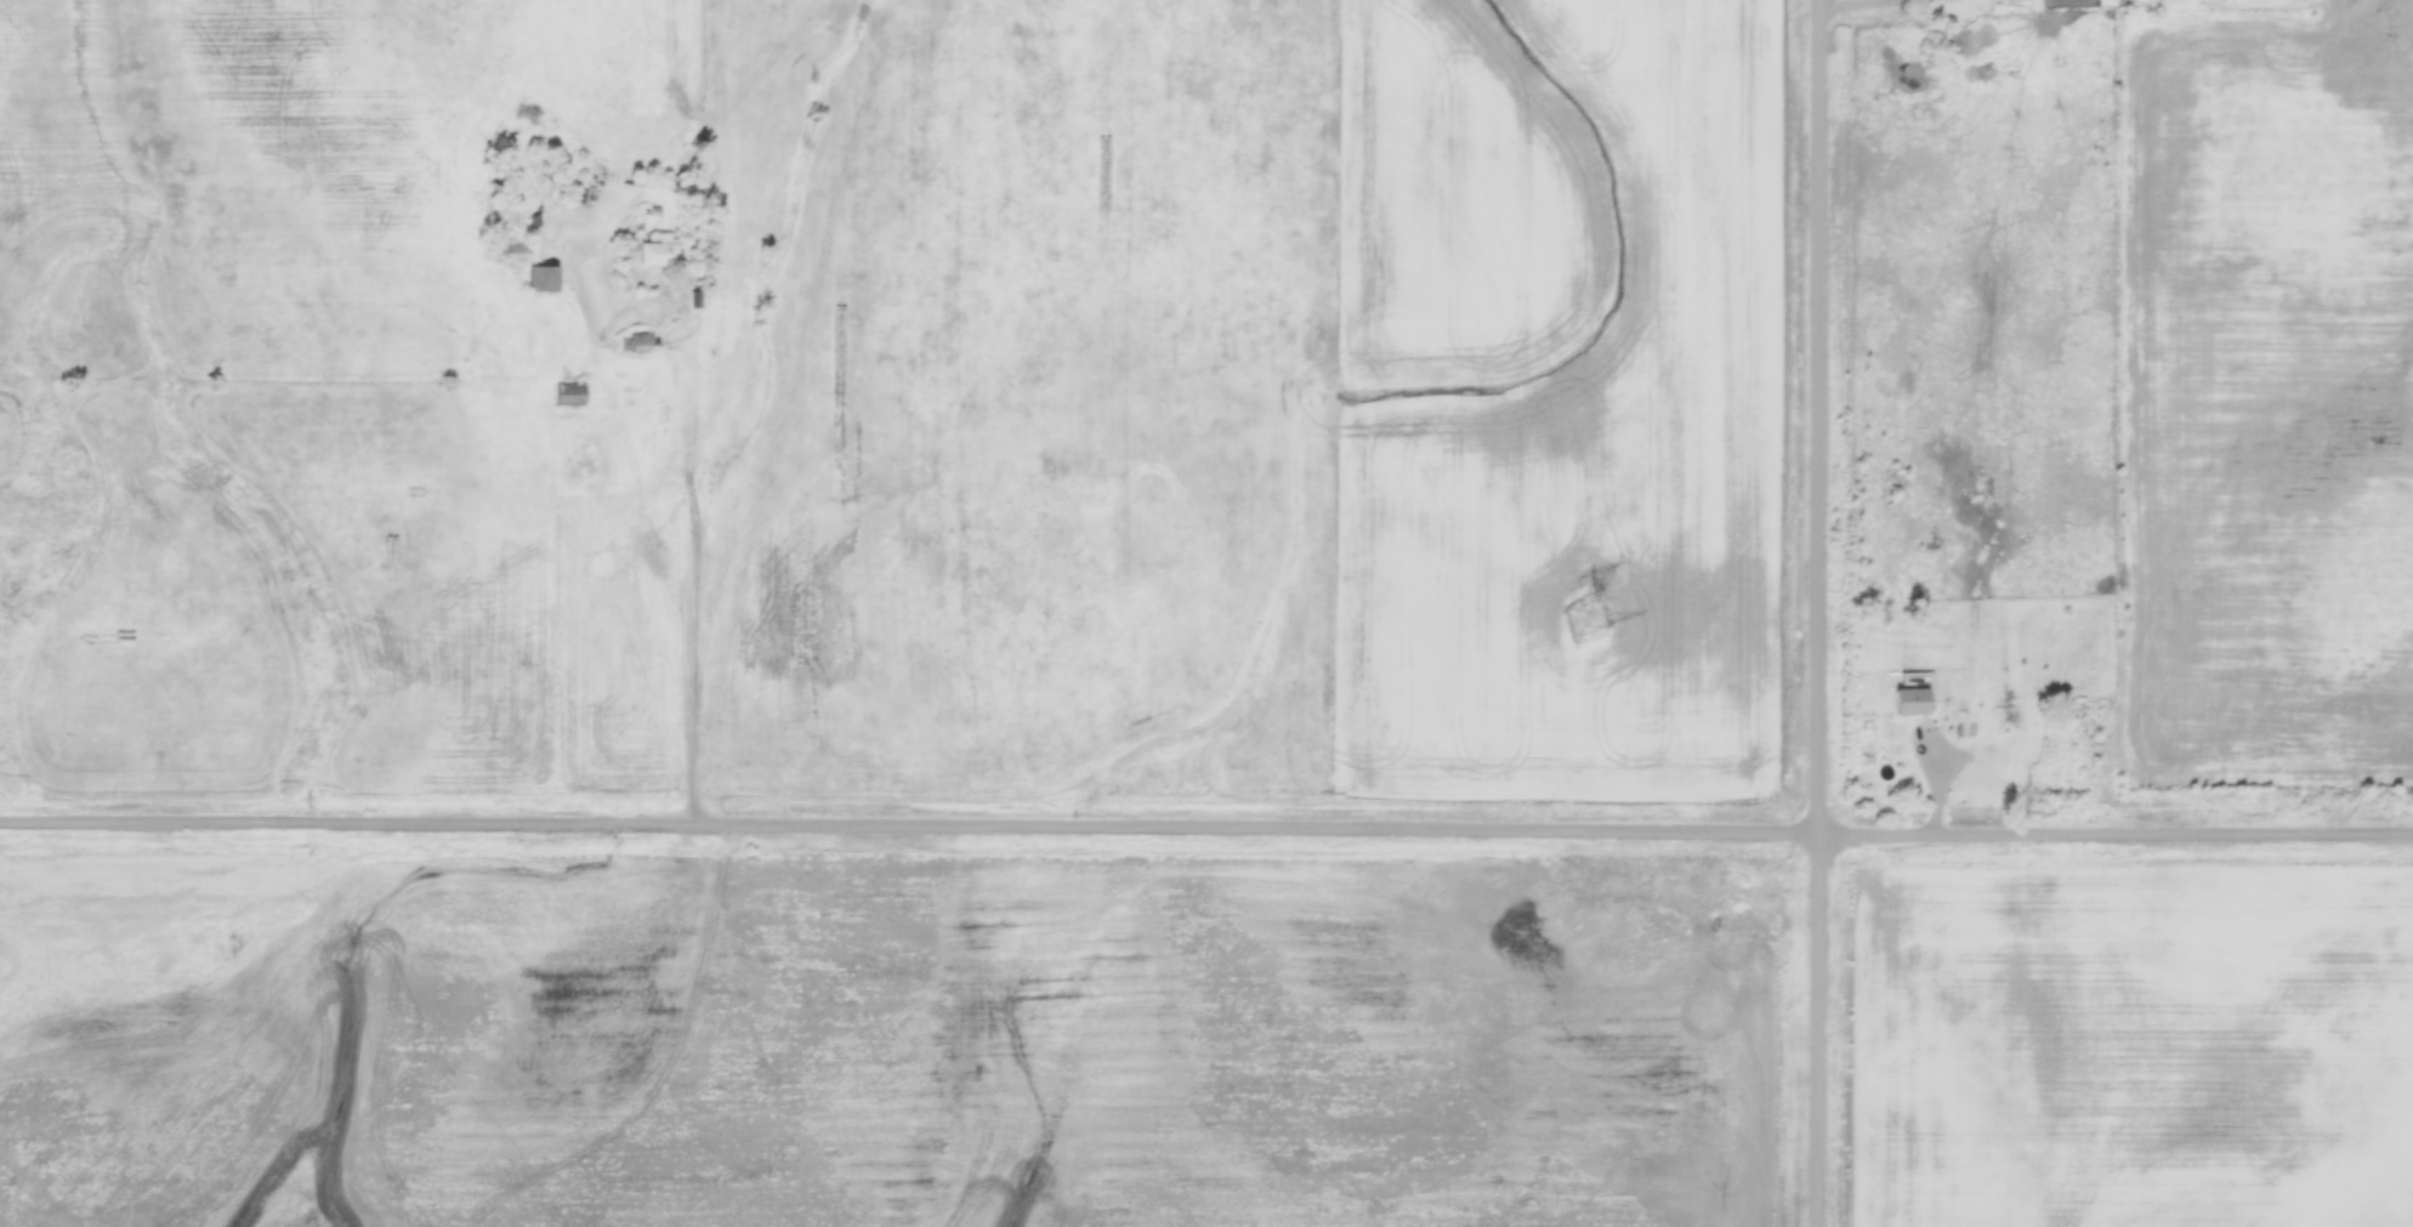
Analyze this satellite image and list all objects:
road: (1868, 8)
building: (510, 250)
building: (655, 254)
building: (539, 280)
building: (636, 343)
building: (567, 397)
power tower: (1582, 610)
road: (1813, 613)
building: (1906, 701)
road: (1205, 833)

